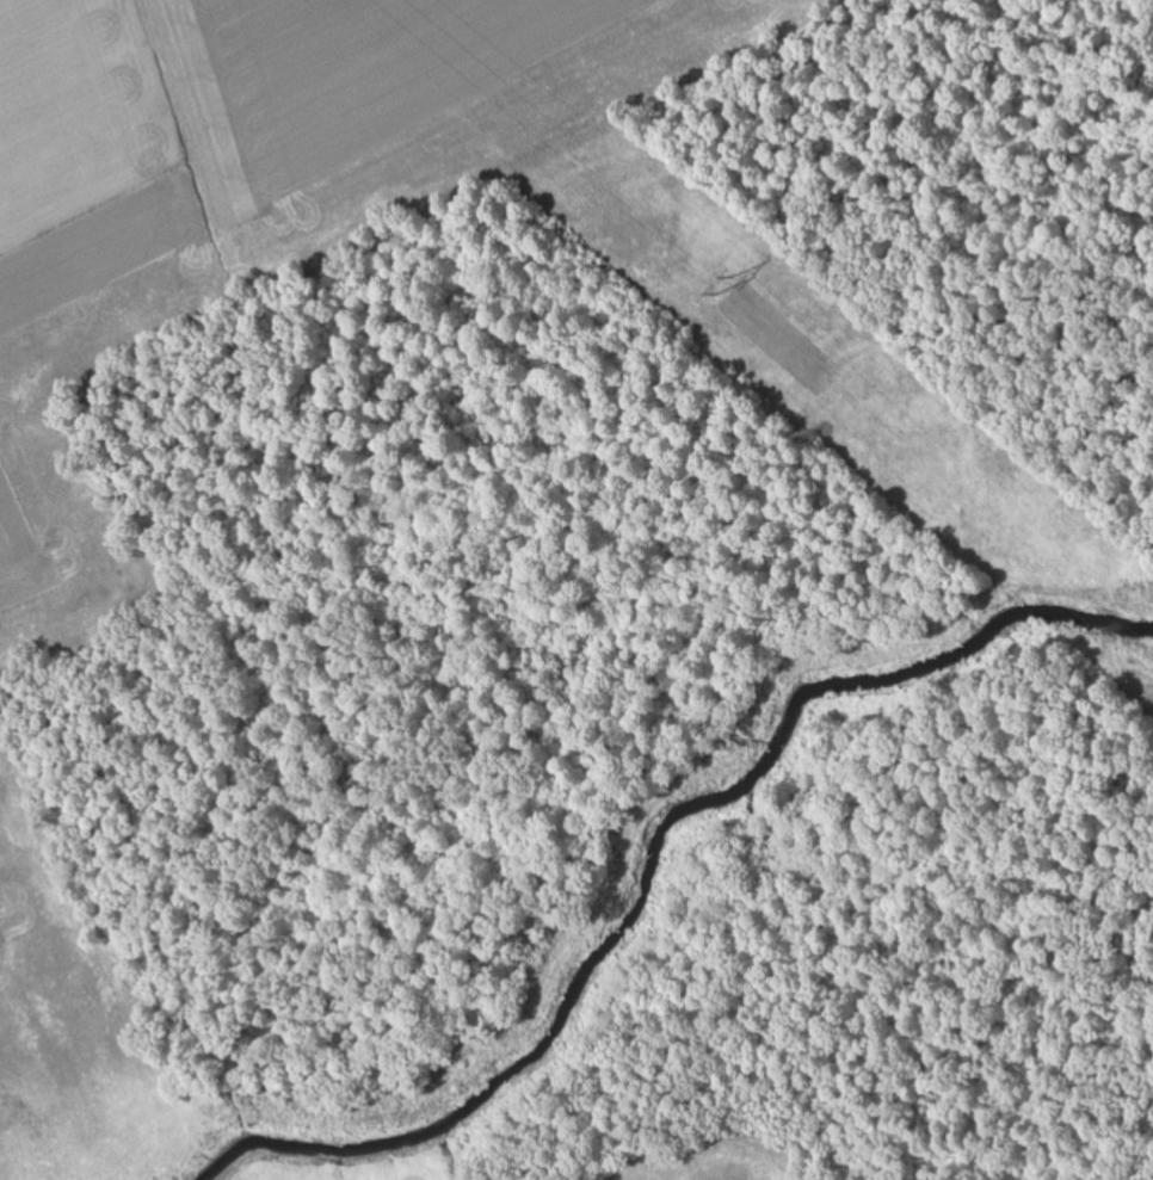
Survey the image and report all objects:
power tower: (726, 289)

